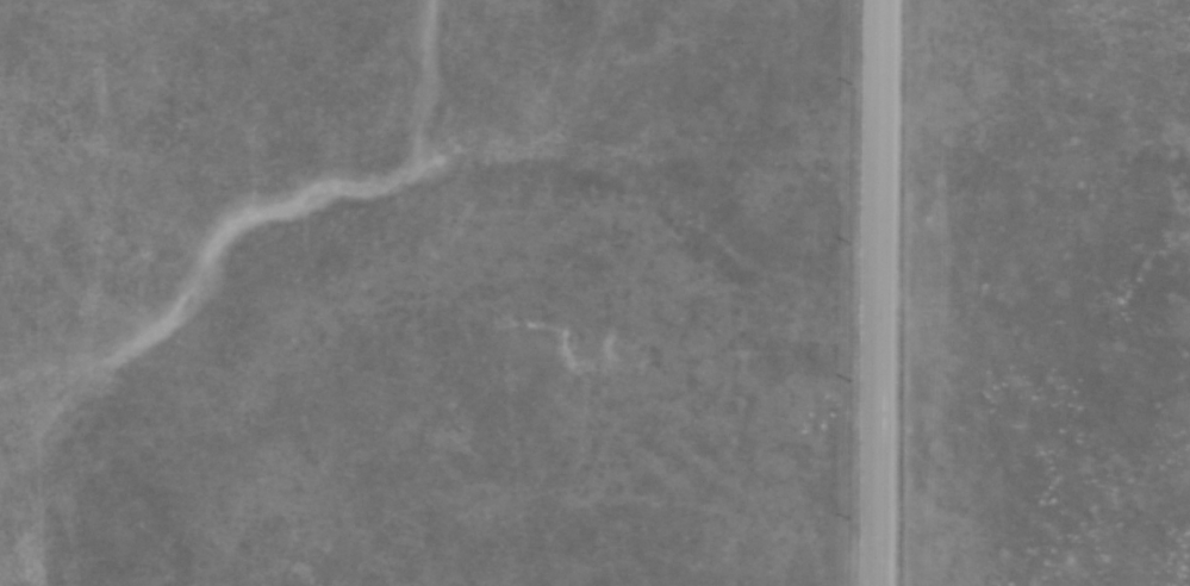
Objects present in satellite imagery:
road: (883, 292)

